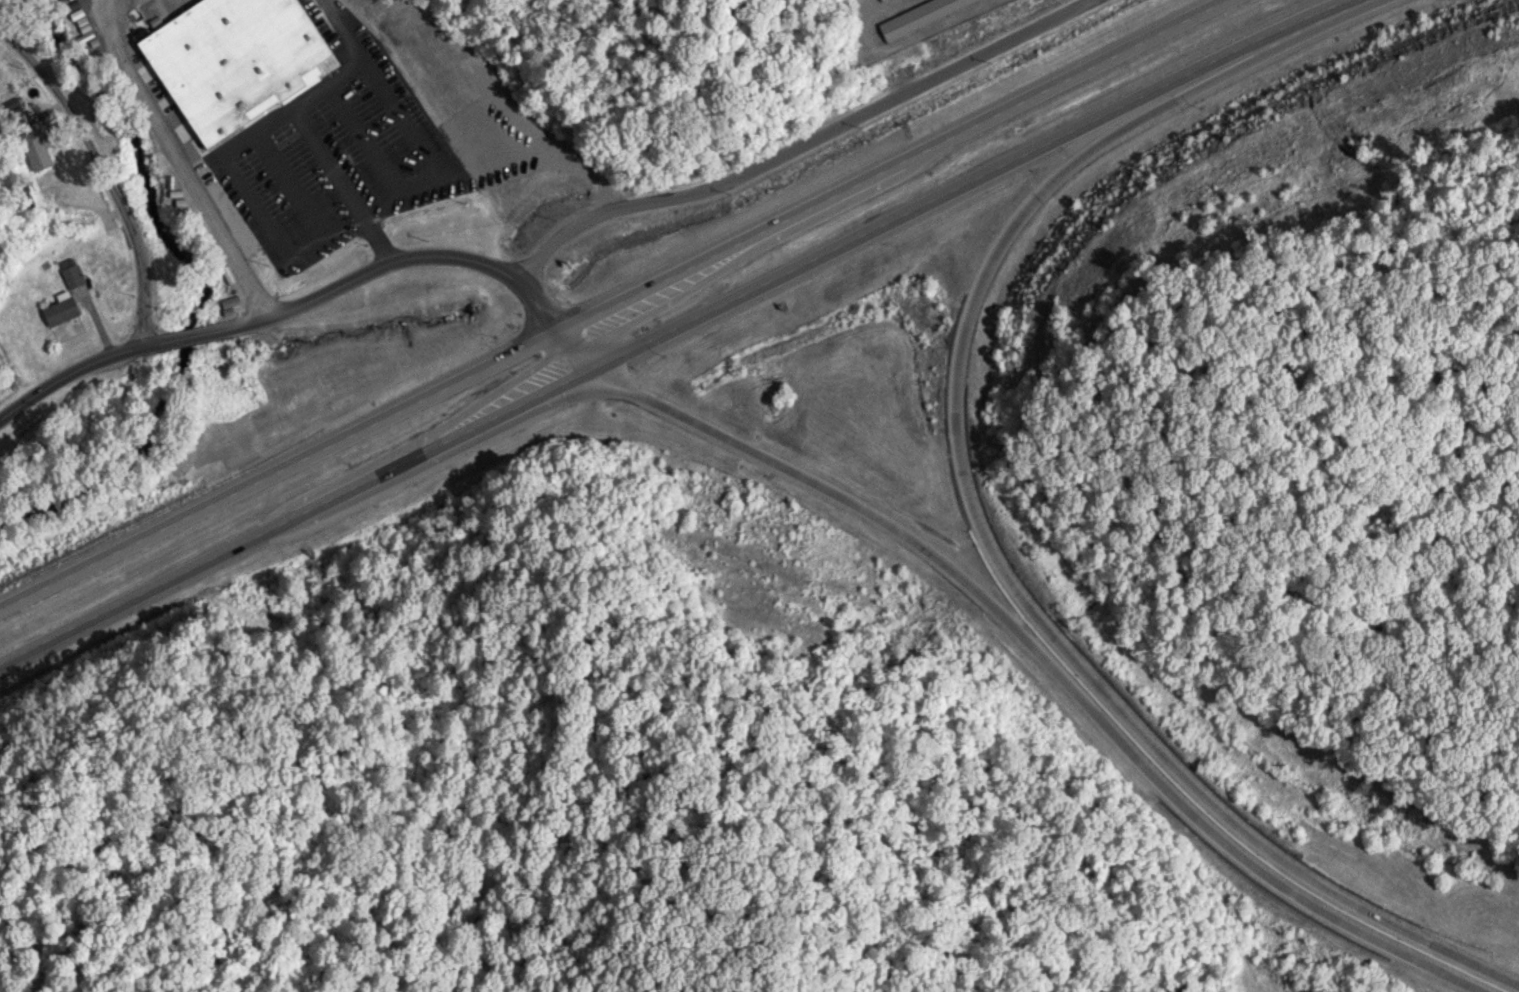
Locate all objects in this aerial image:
building: (913, 14)
road: (1251, 51)
building: (229, 59)
building: (16, 117)
road: (802, 142)
building: (34, 148)
road: (177, 161)
road: (103, 171)
road: (859, 237)
road: (389, 257)
building: (70, 275)
road: (613, 298)
building: (57, 311)
road: (188, 334)
road: (571, 346)
road: (78, 367)
road: (422, 450)
road: (129, 597)
road: (1048, 627)
road: (1039, 663)

